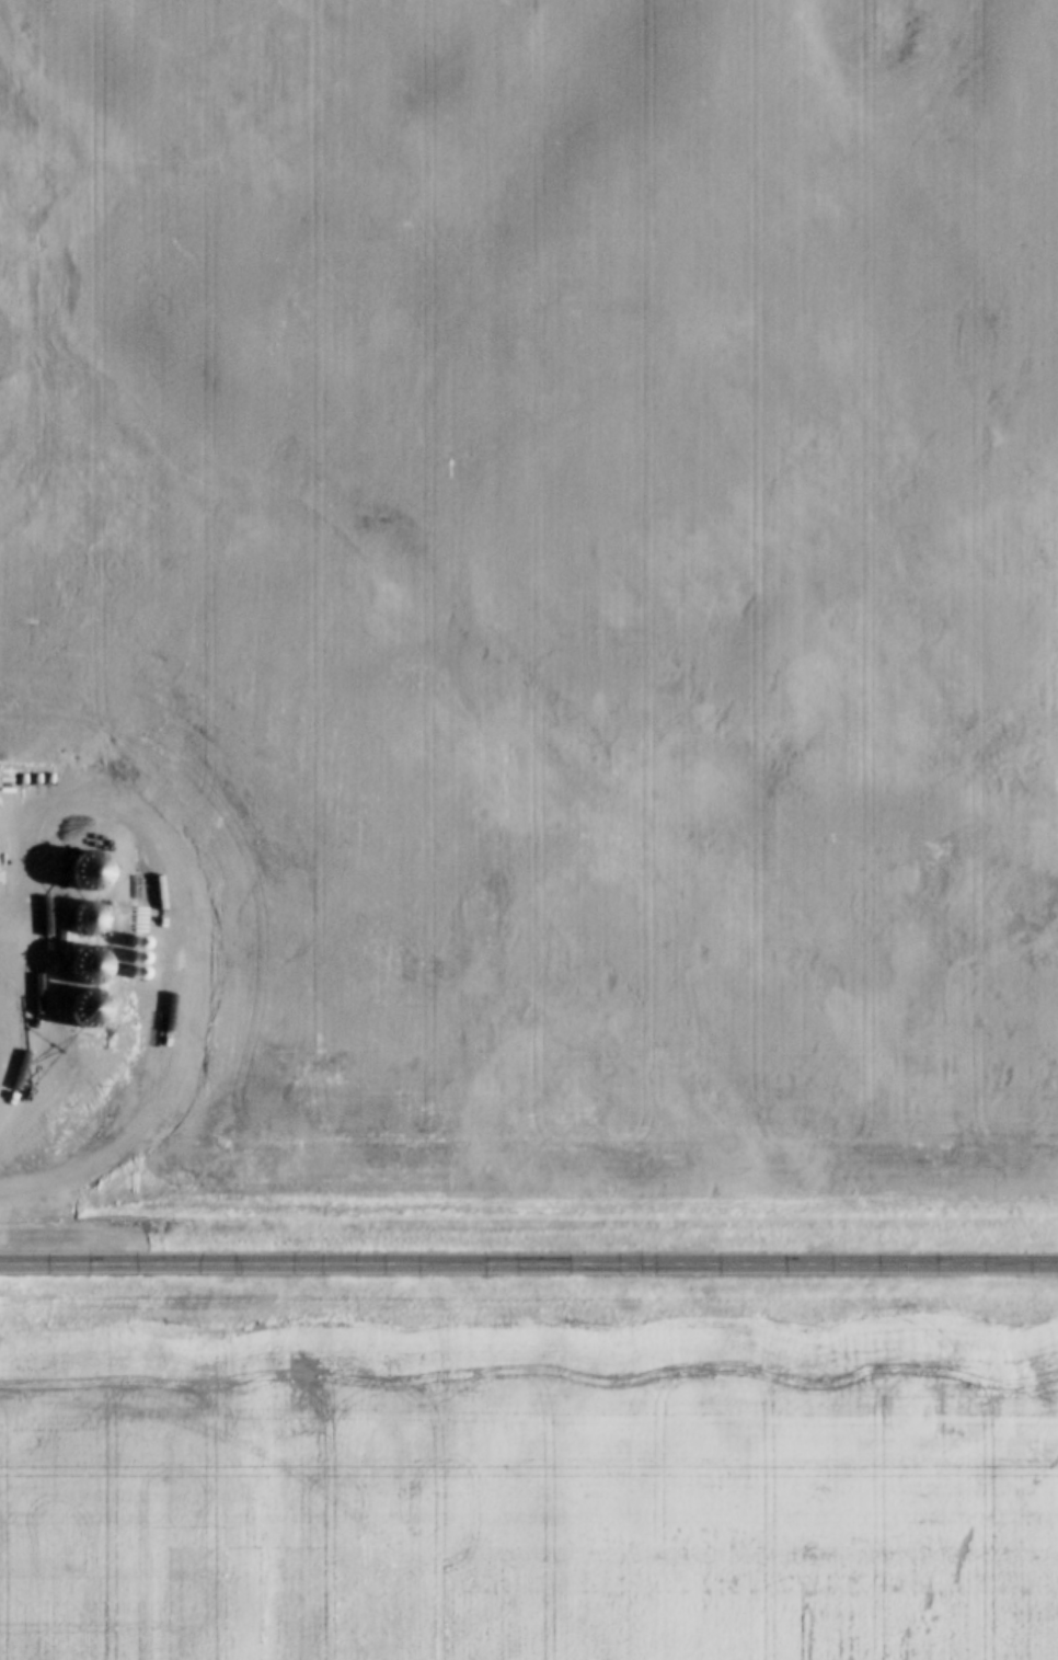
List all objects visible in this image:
road: (529, 1261)

